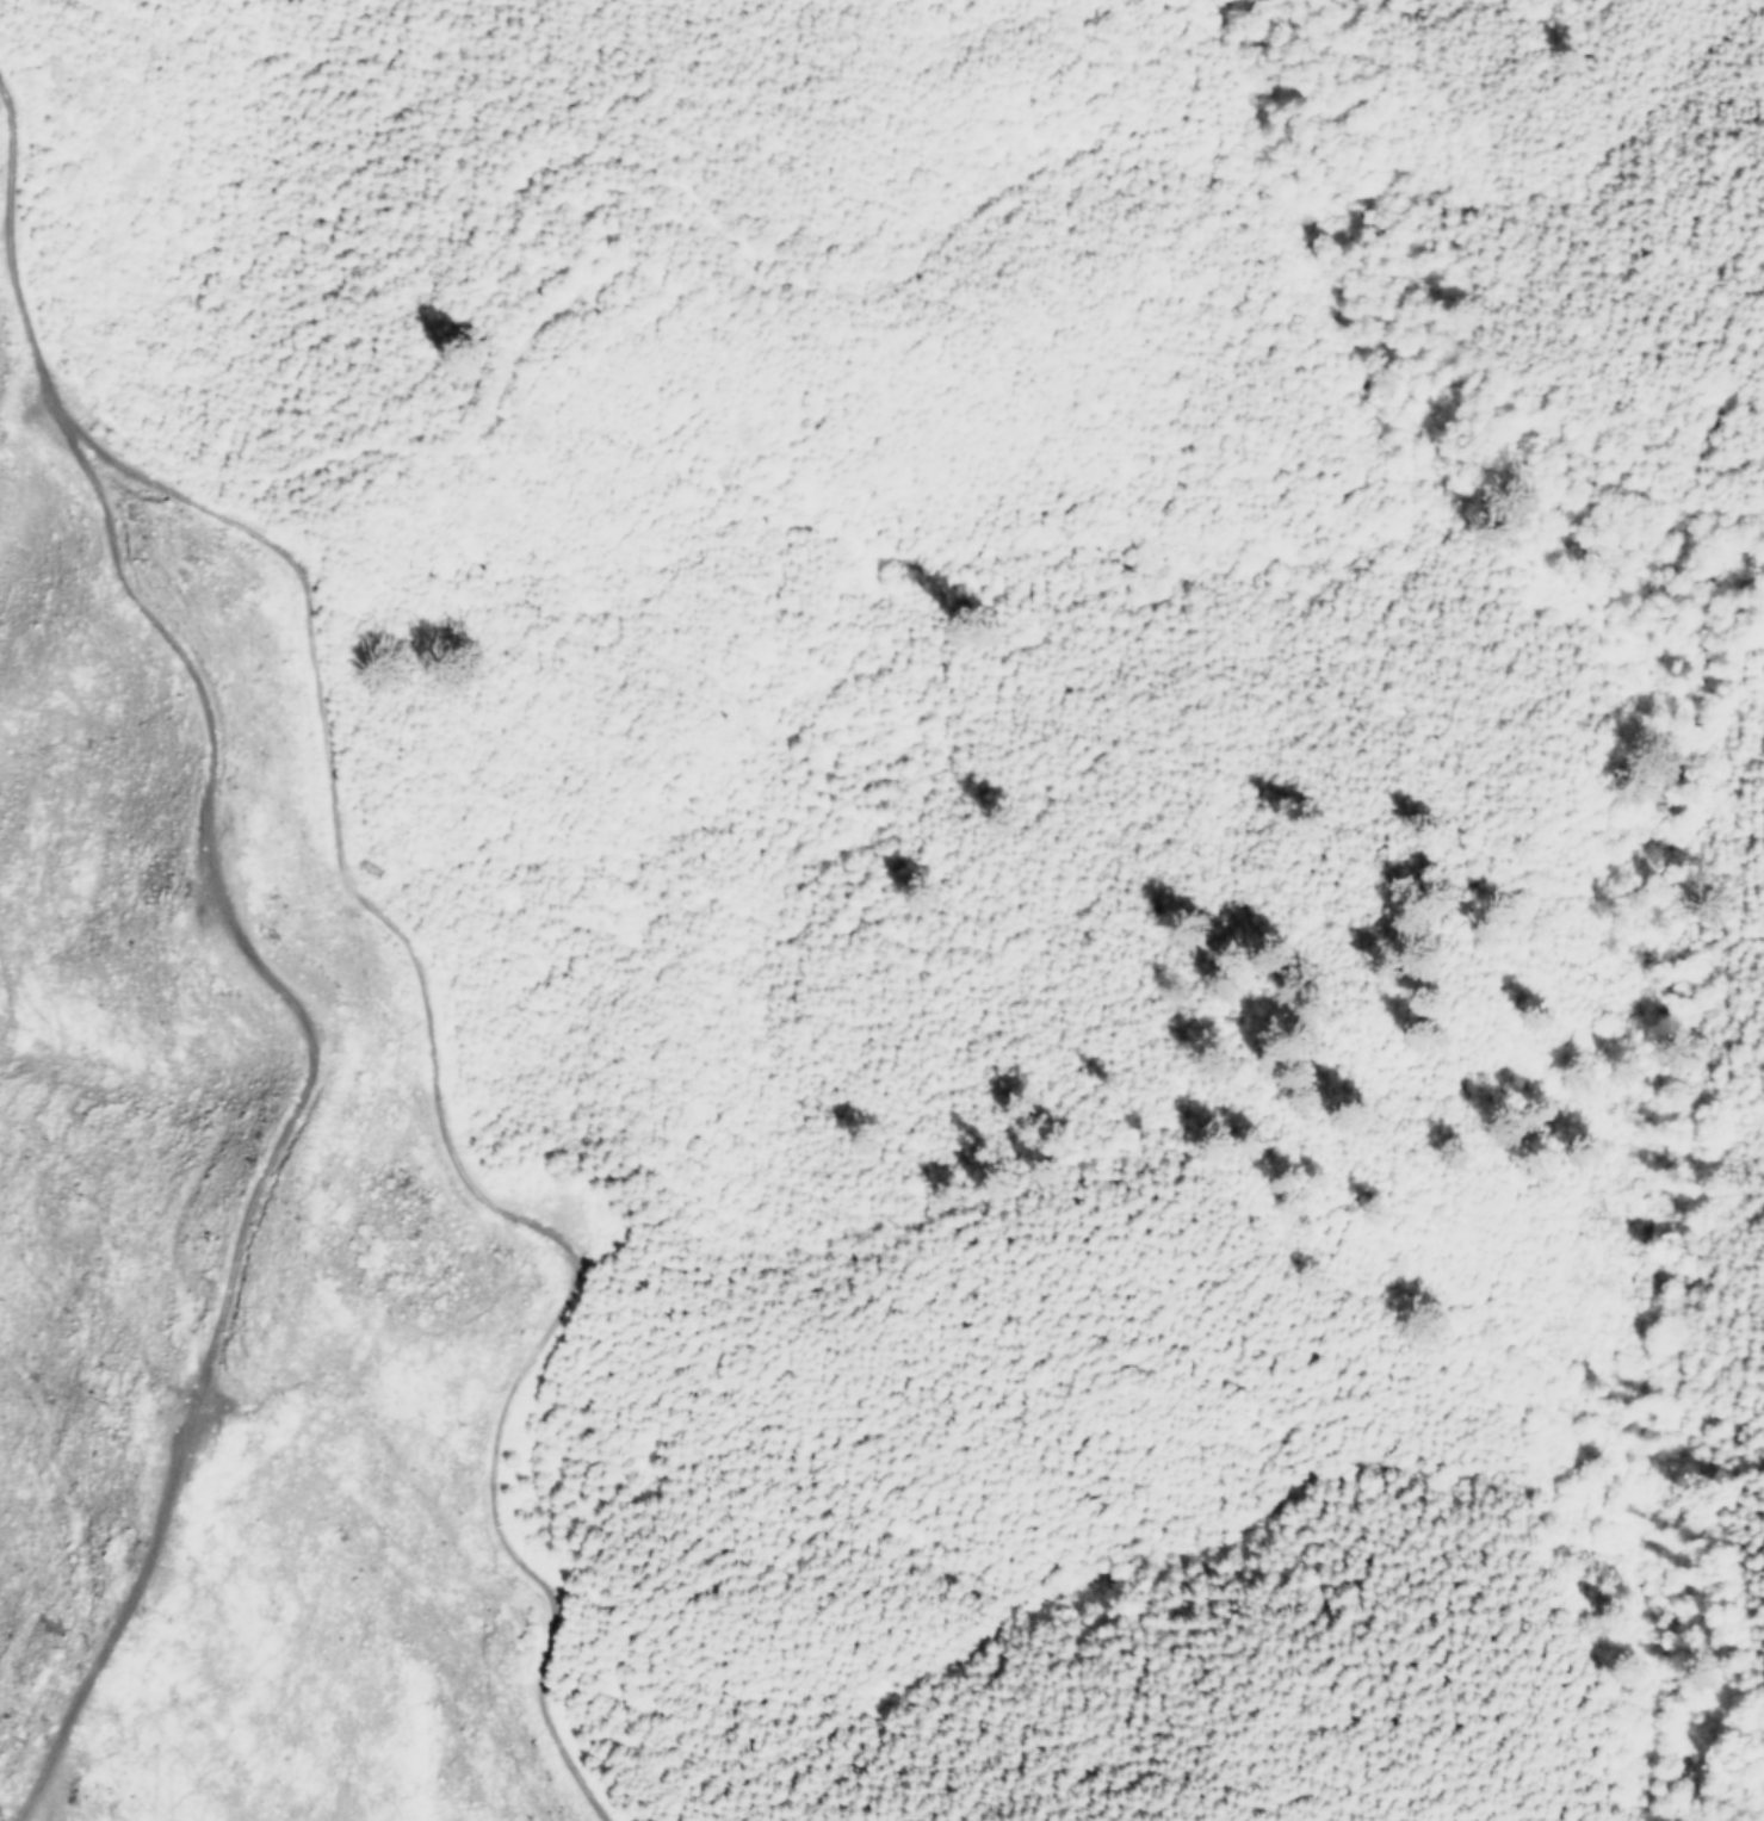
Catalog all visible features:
road: (376, 906)
road: (296, 1125)

